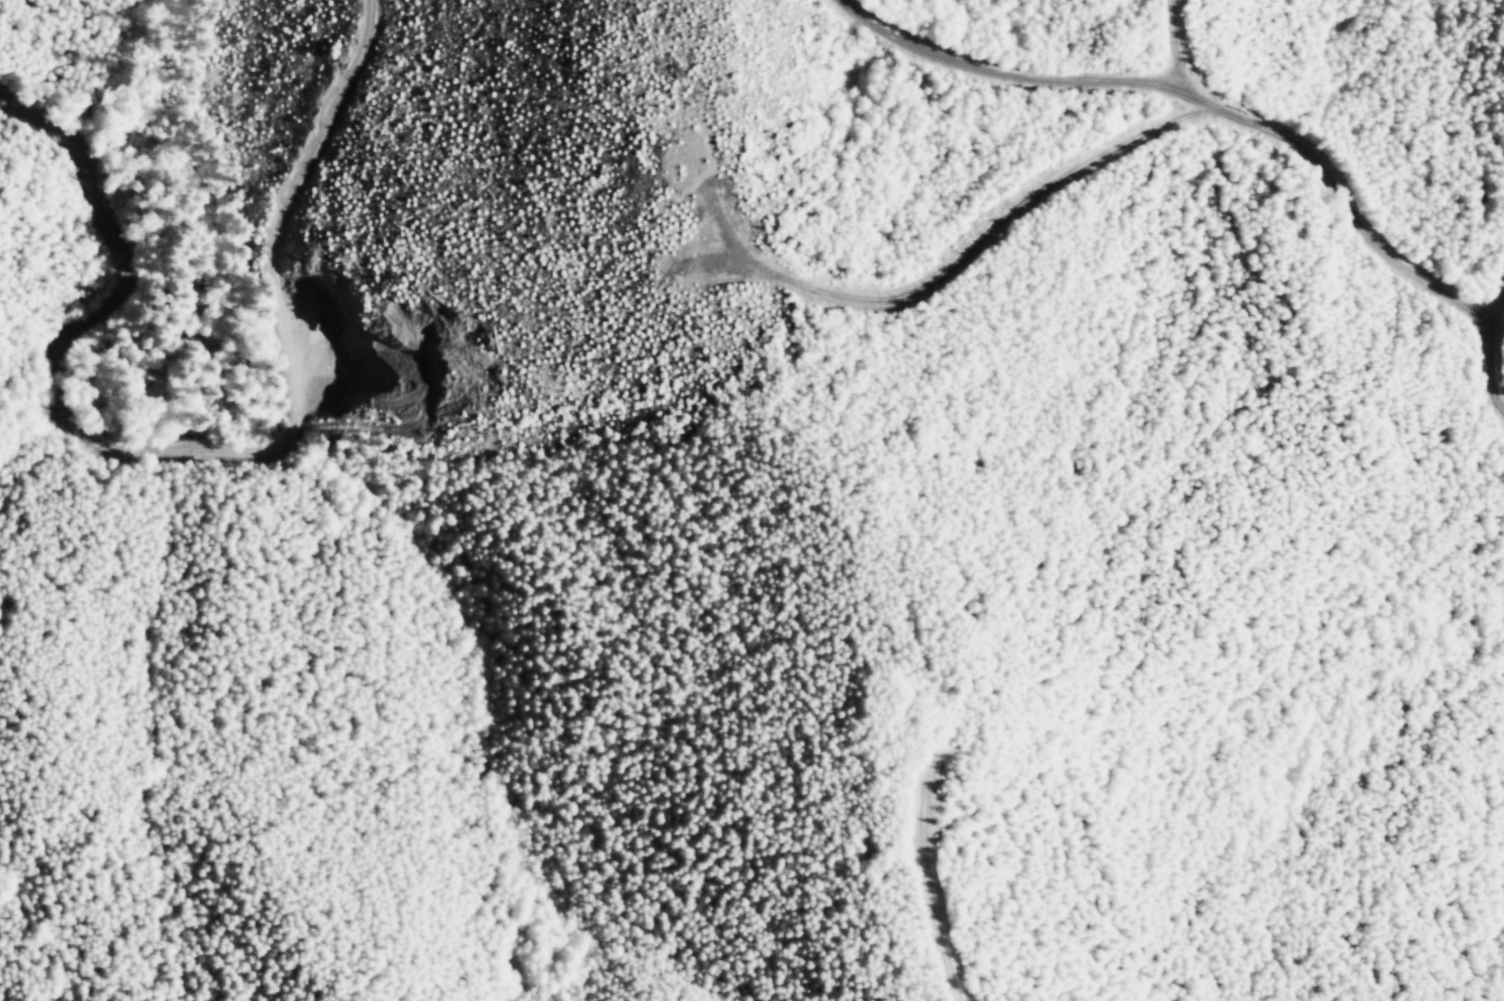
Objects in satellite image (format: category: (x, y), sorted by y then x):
road: (205, 421)

